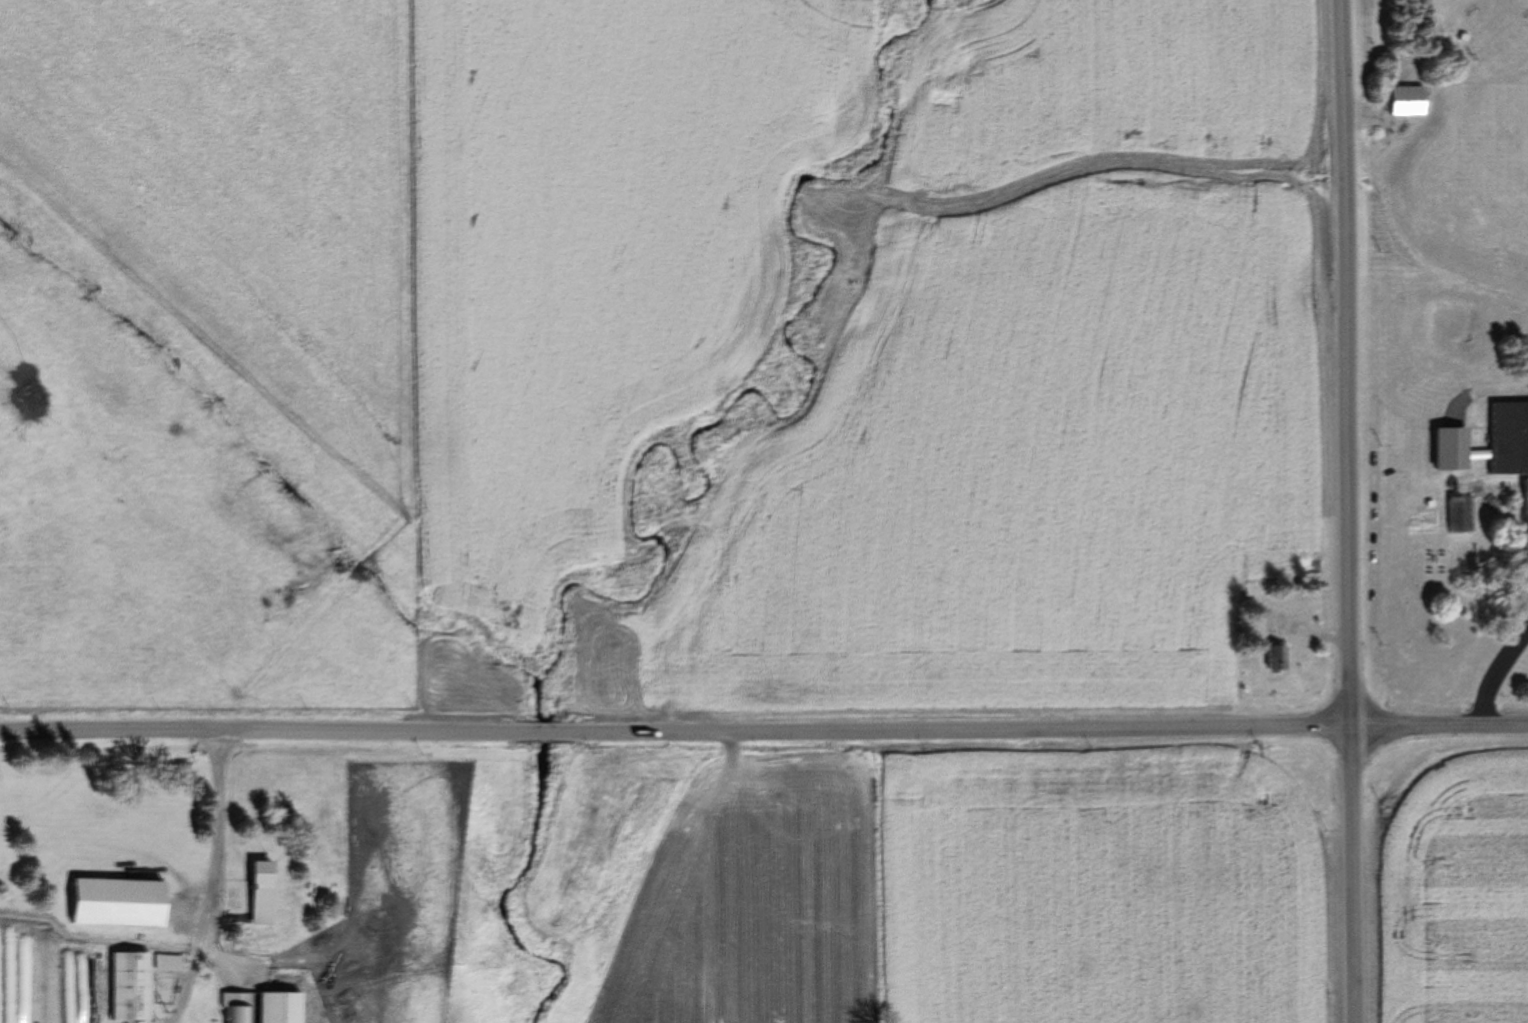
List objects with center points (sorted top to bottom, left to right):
building: (1409, 101)
park: (1495, 103)
building: (1511, 451)
road: (1477, 477)
road: (1346, 511)
building: (1458, 512)
building: (1278, 658)
road: (1493, 674)
road: (763, 733)
building: (263, 892)
building: (120, 902)
building: (132, 986)
building: (237, 1007)
building: (281, 1007)
building: (7, 1012)
building: (43, 1018)

